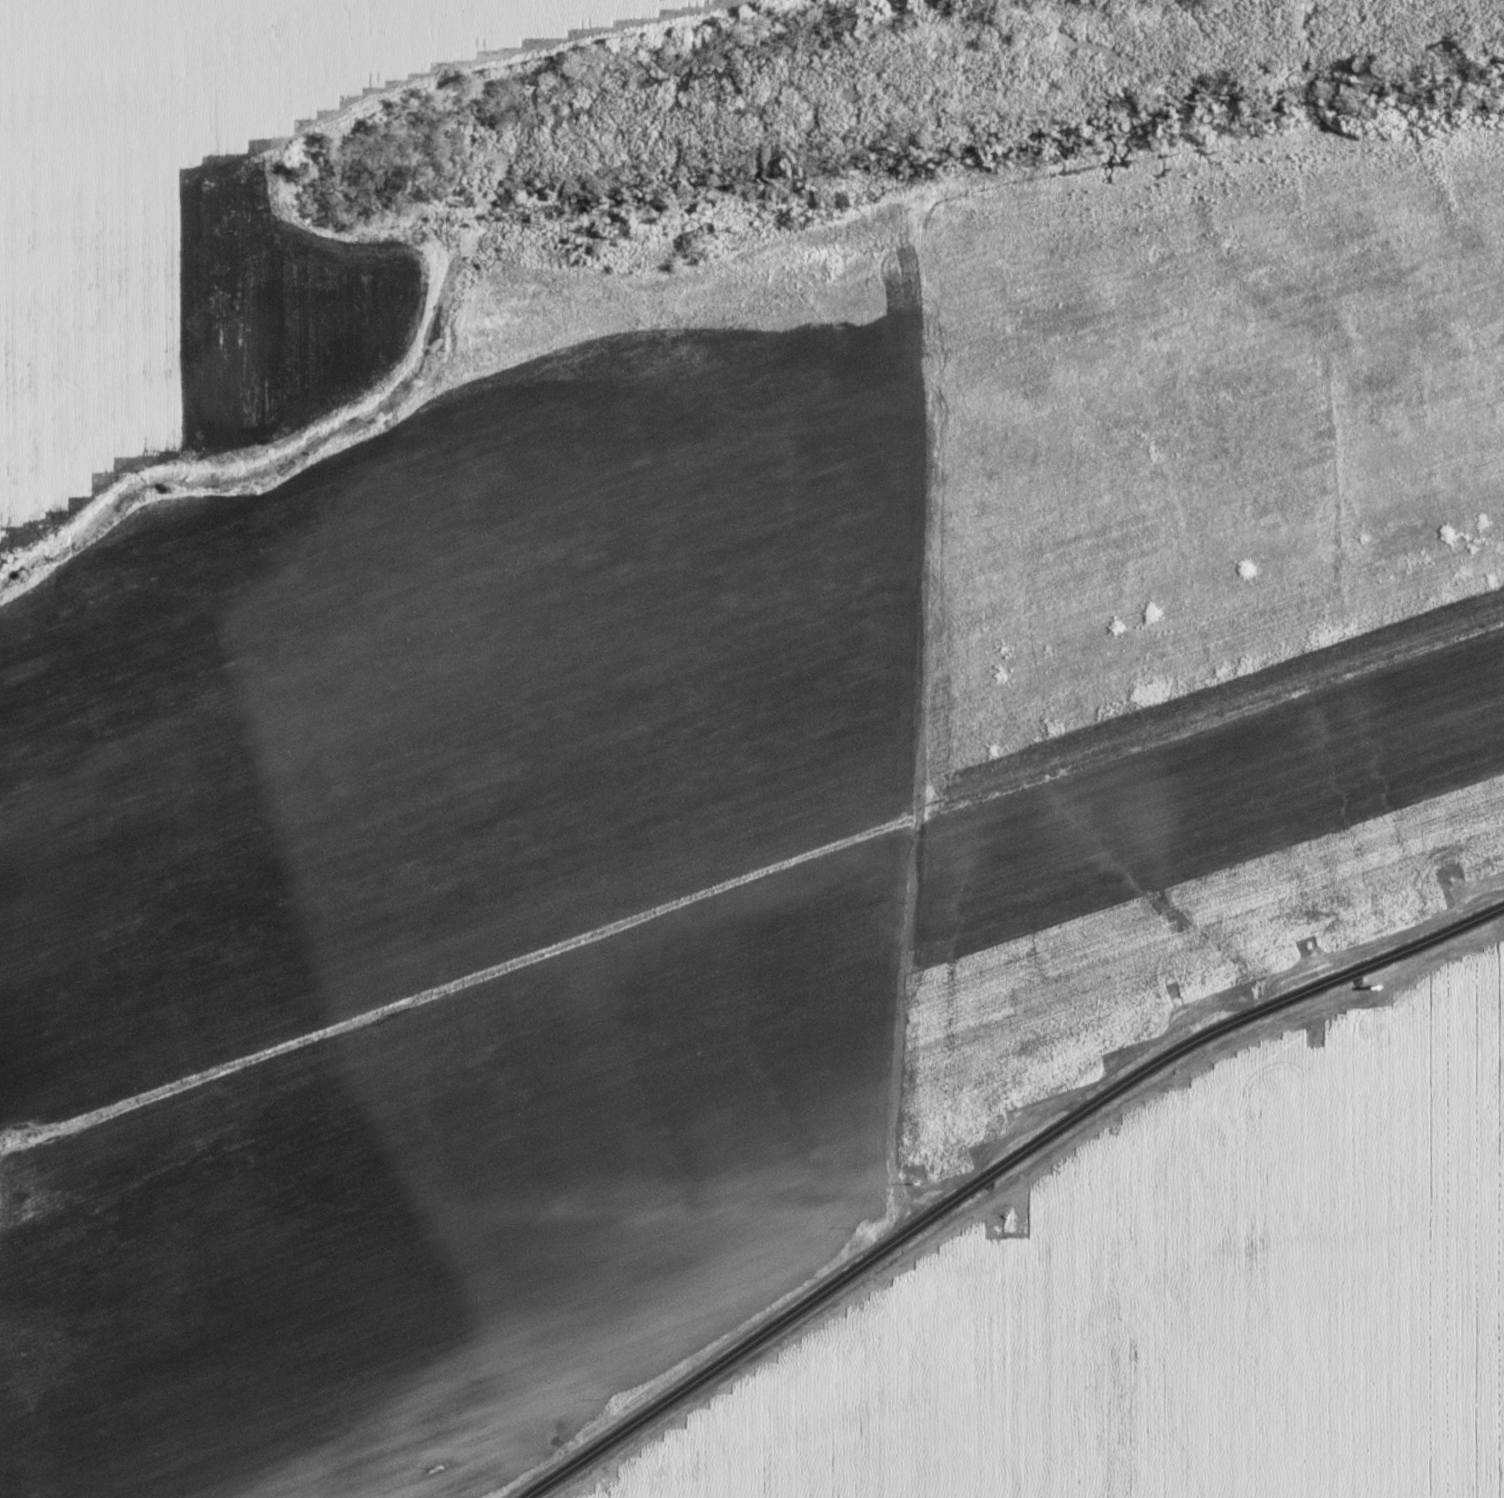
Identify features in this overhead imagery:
road: (914, 817)
road: (997, 1173)

